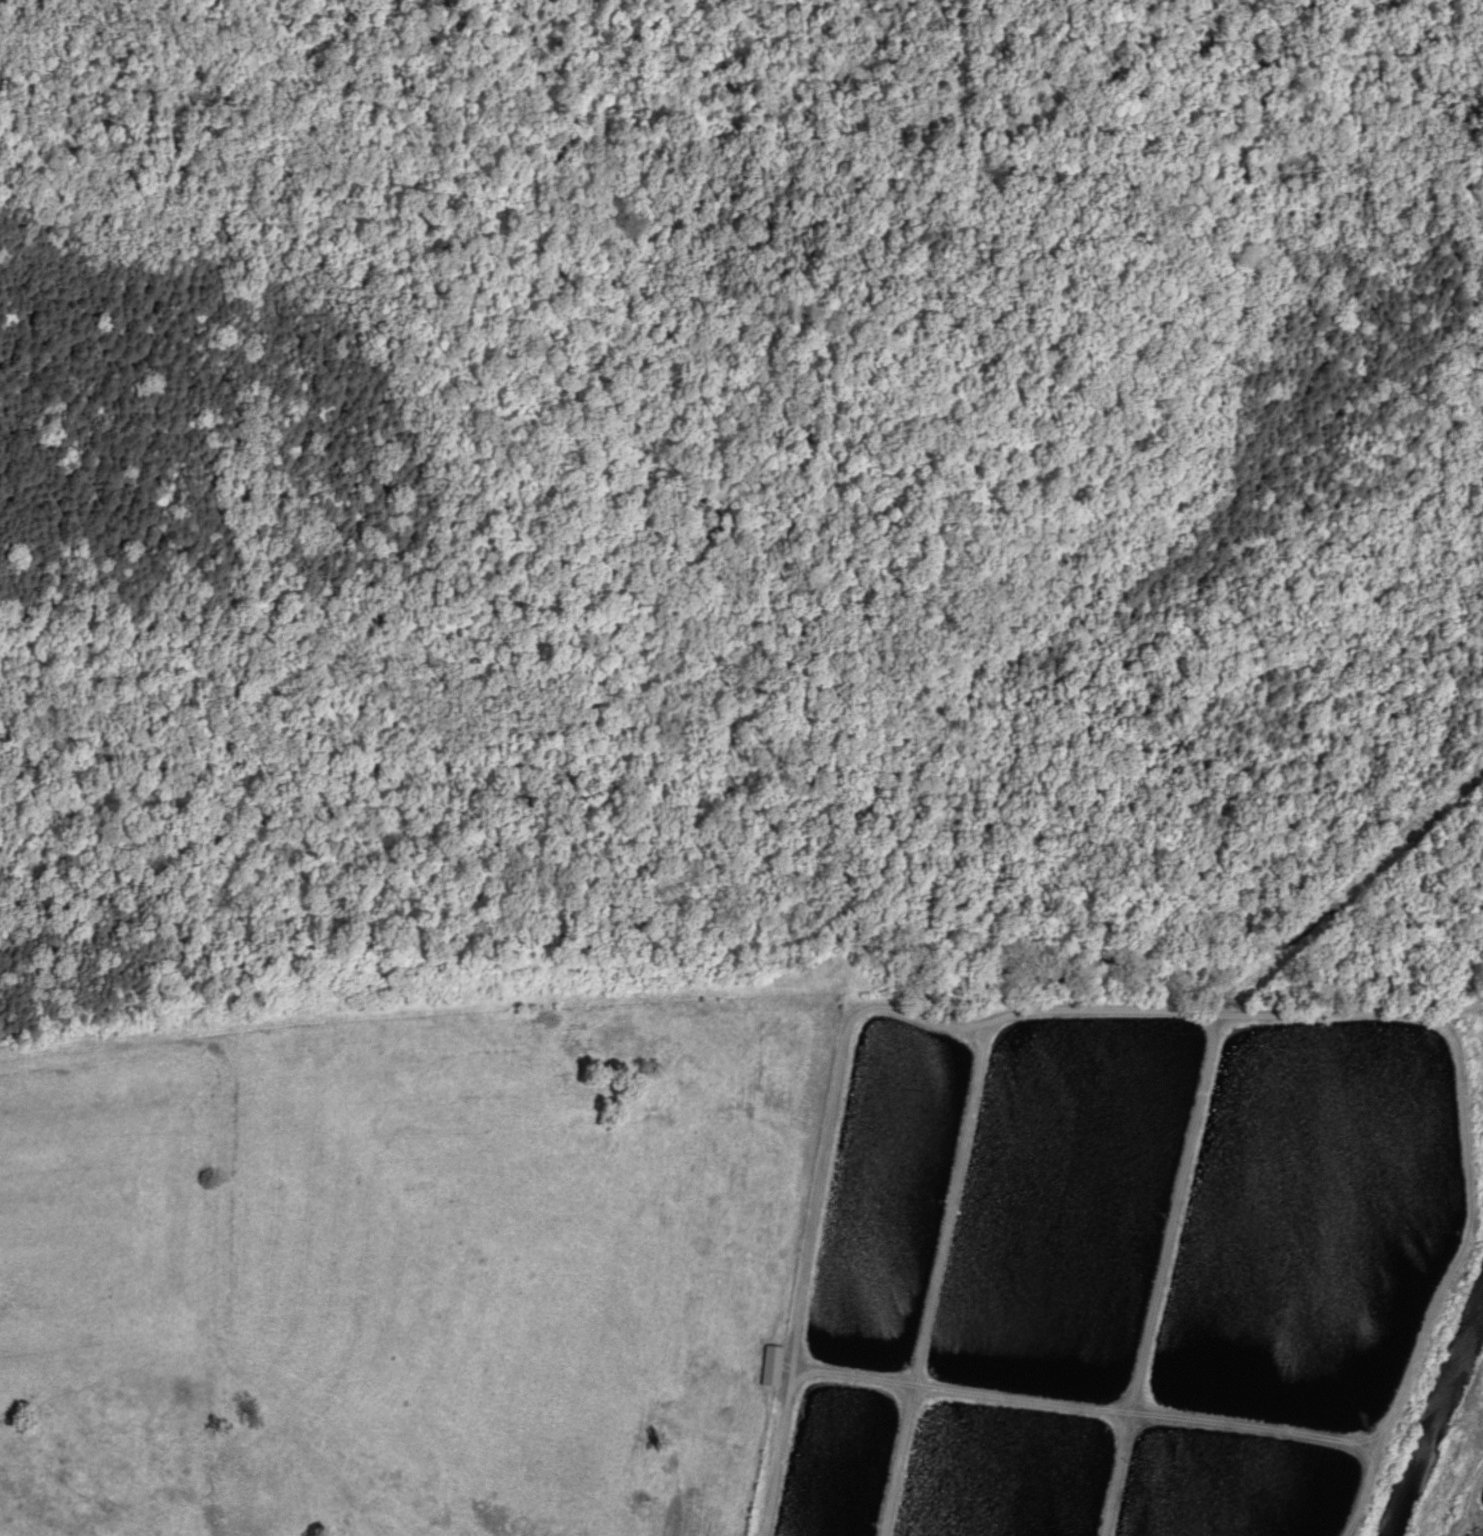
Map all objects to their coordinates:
building: (776, 1368)

